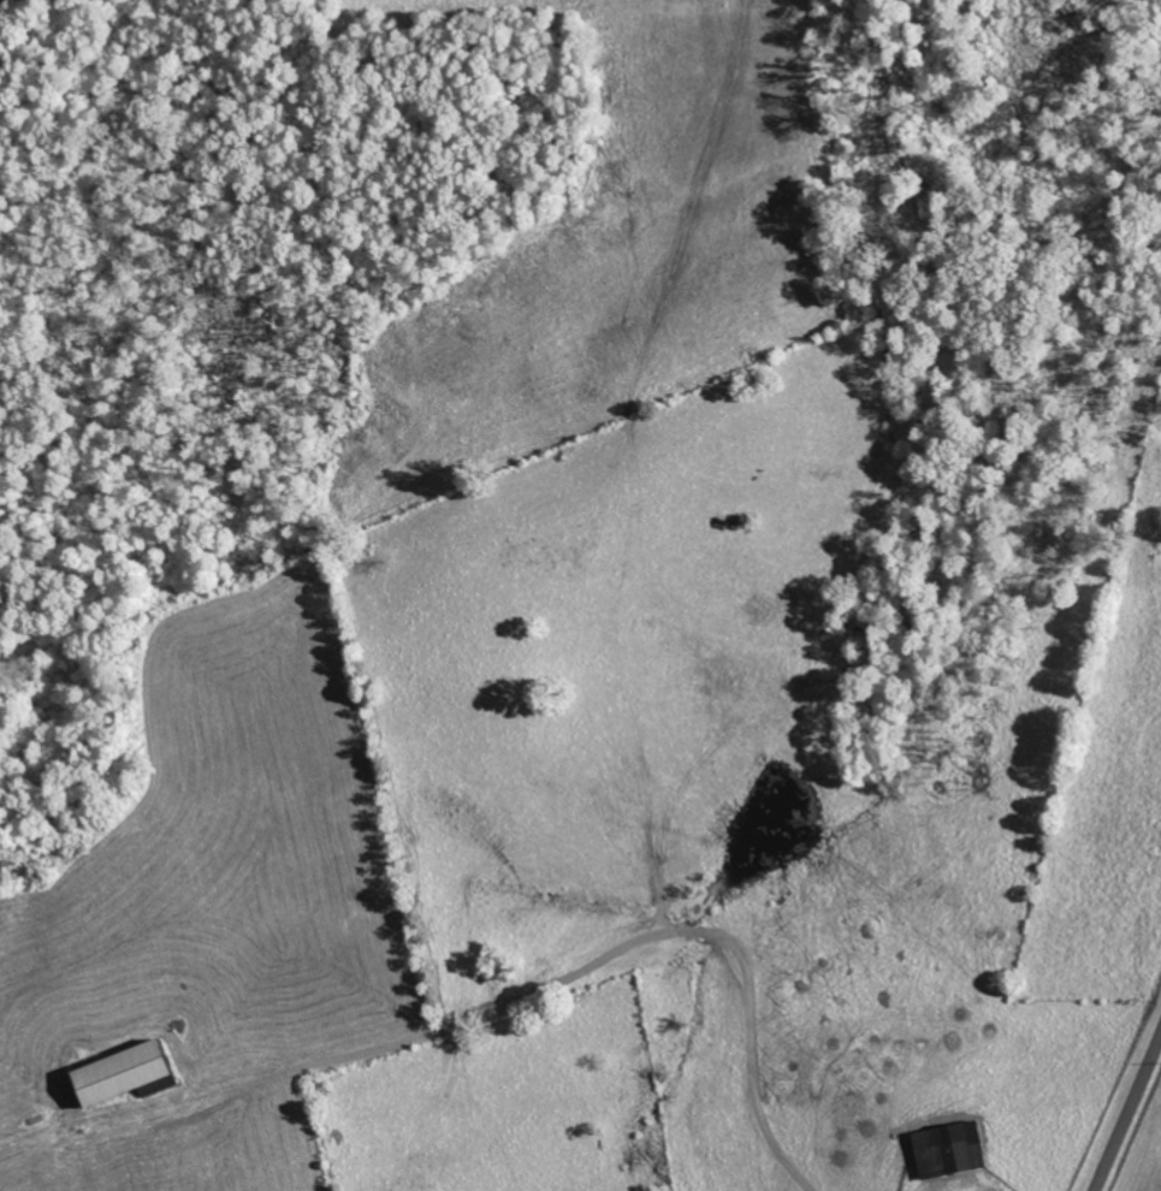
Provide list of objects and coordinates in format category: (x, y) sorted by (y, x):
building: (123, 1076)
road: (1126, 1109)
building: (948, 1151)

